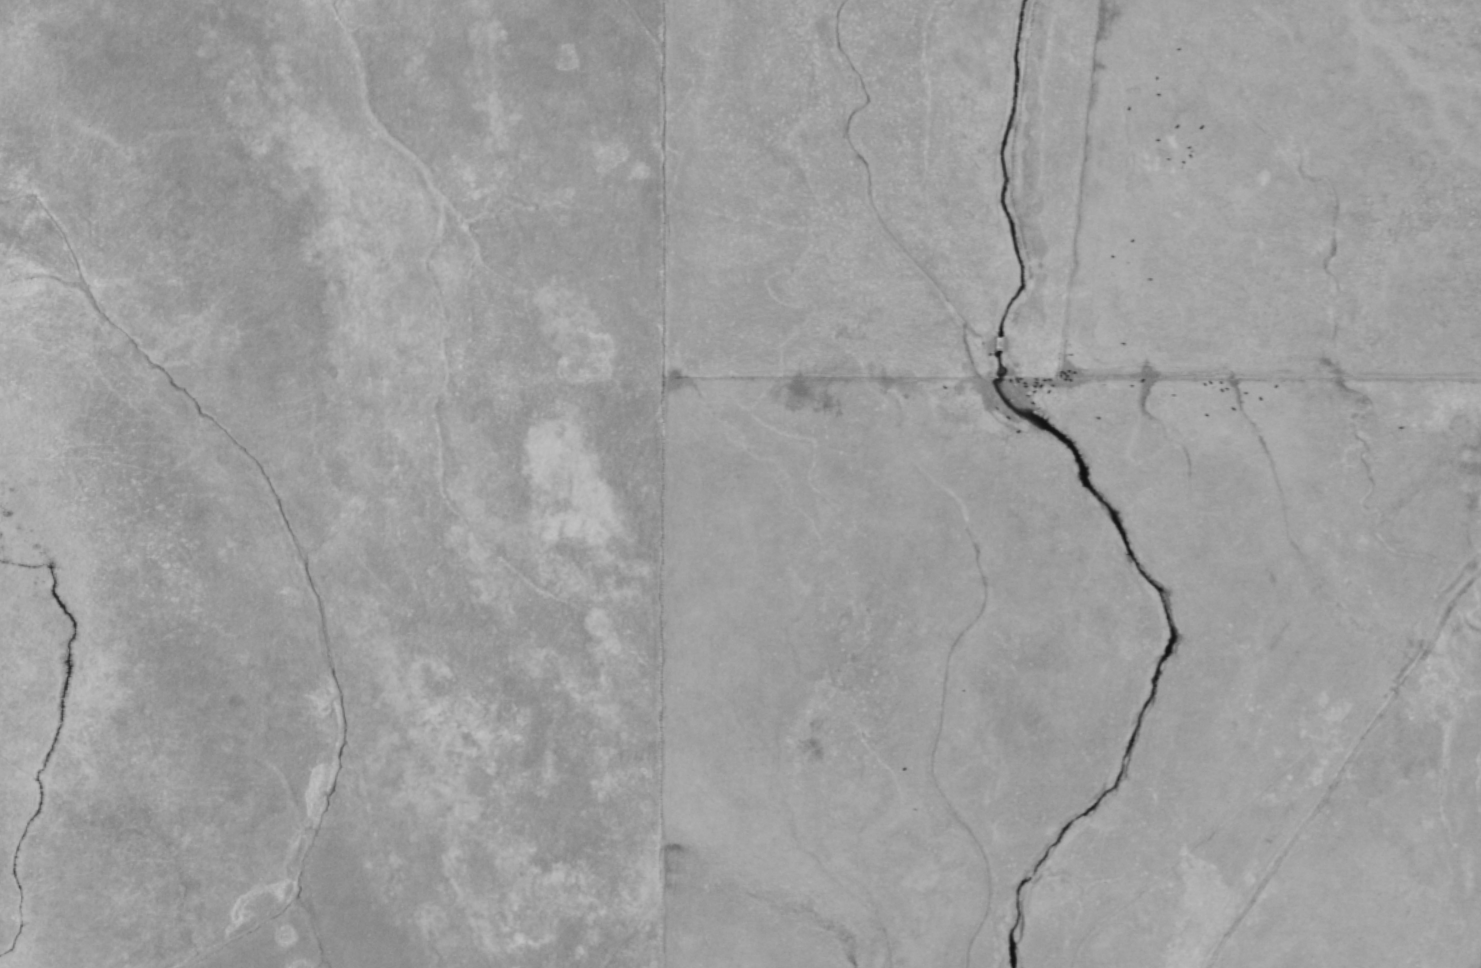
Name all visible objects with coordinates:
crop: (740, 484)

